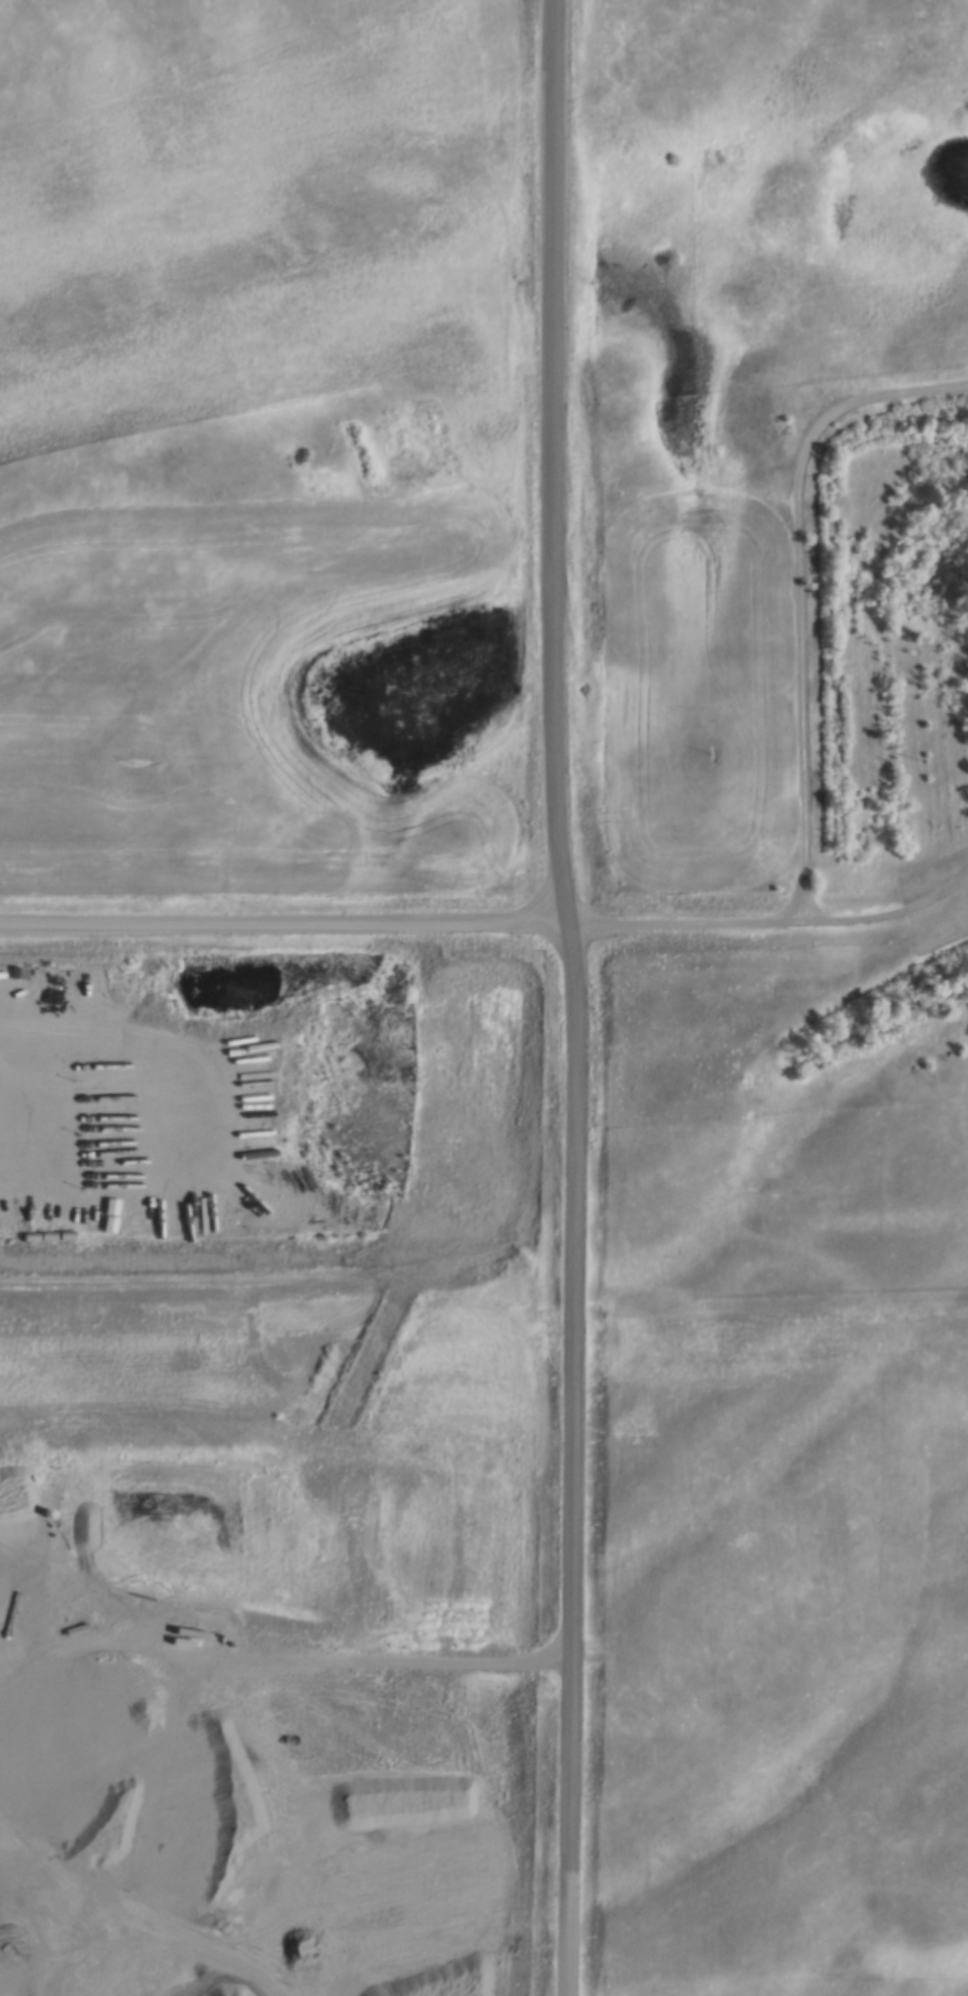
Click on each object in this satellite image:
road: (798, 591)
road: (952, 886)
road: (757, 920)
road: (286, 923)
road: (572, 997)
quarry: (32, 1788)

